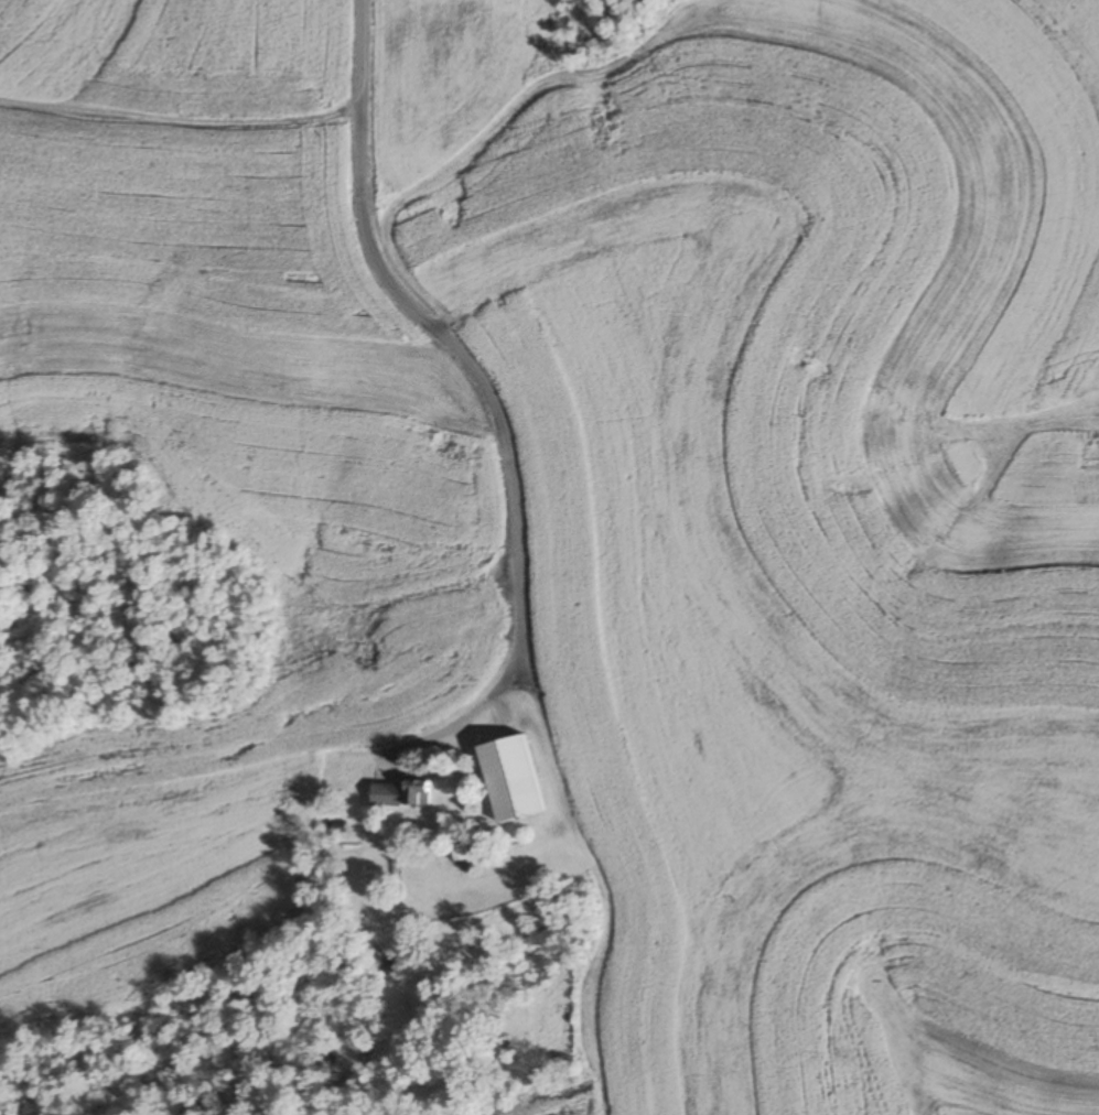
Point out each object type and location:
road: (430, 326)
road: (461, 715)
building: (510, 779)
building: (341, 780)
building: (414, 792)
building: (385, 794)

